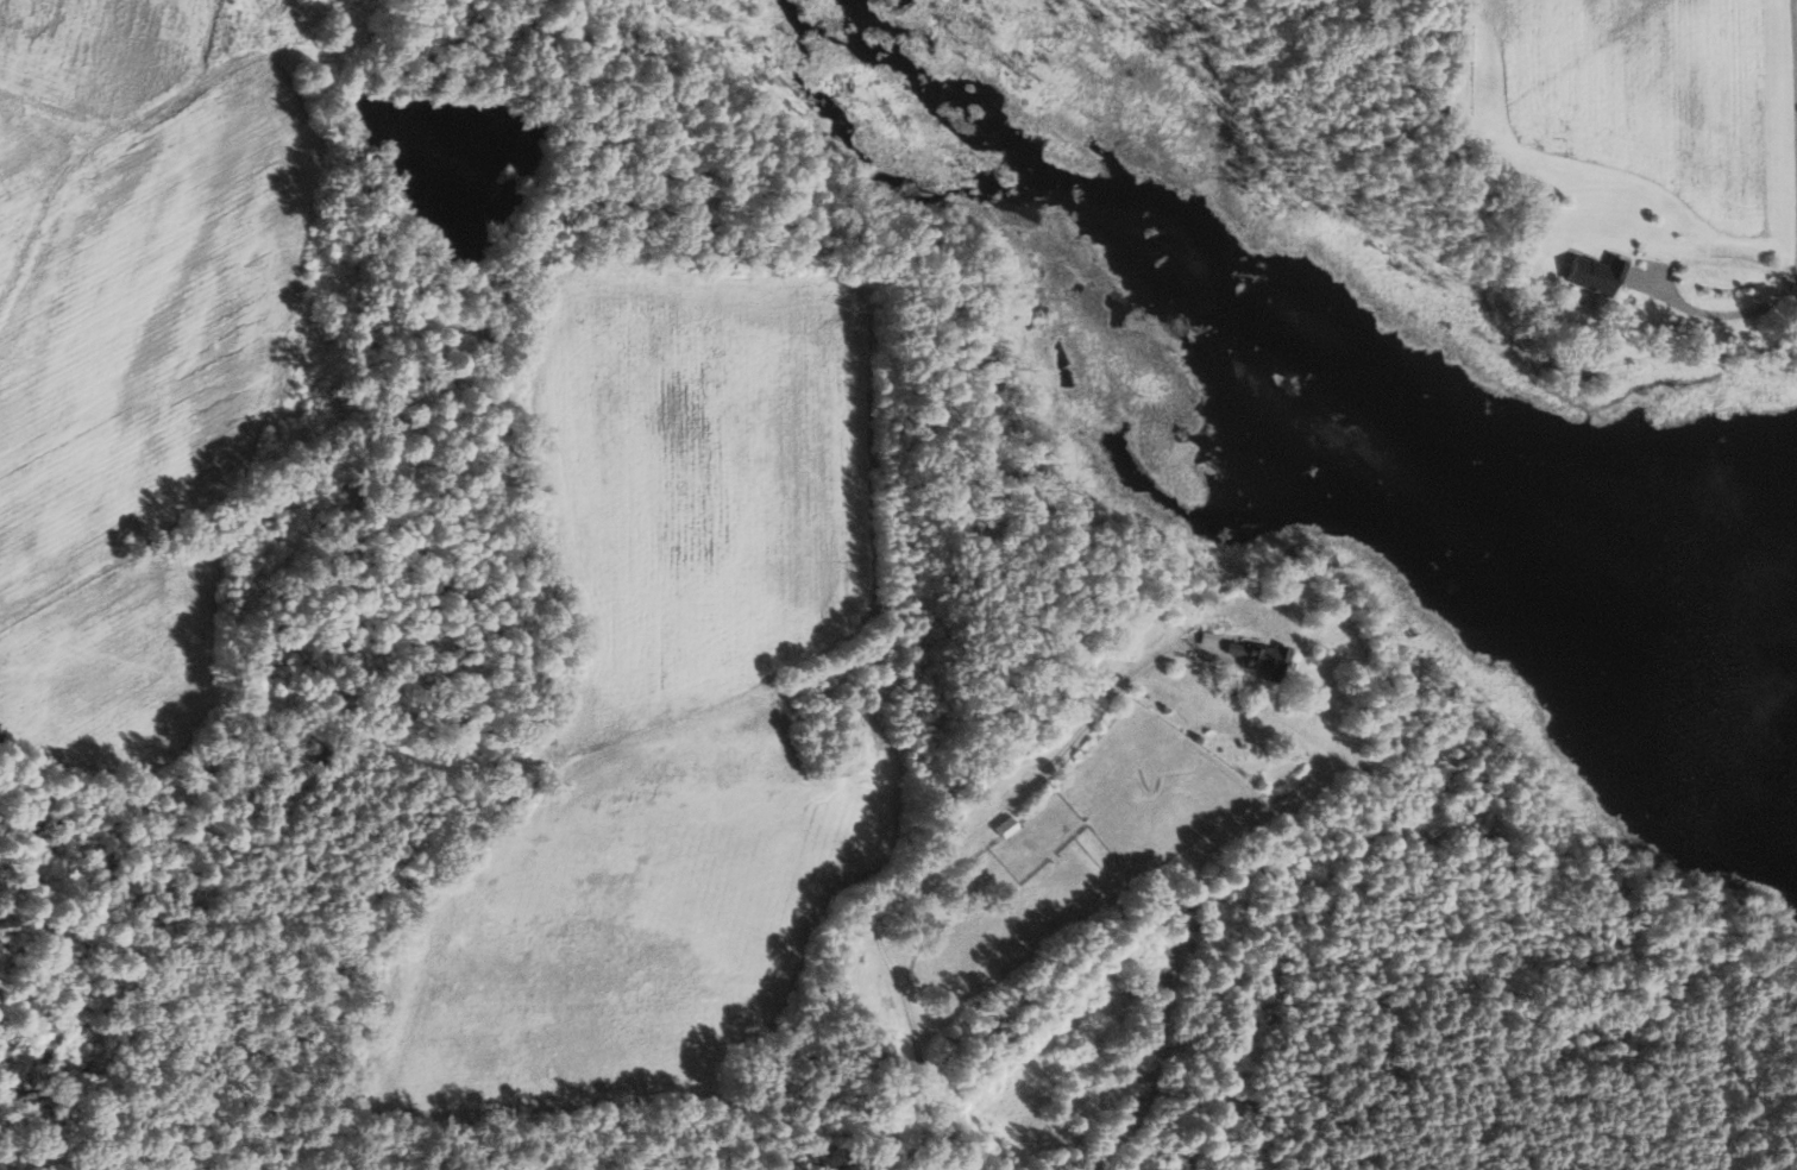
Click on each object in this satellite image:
road: (1795, 202)
building: (1596, 275)
river: (1302, 402)
building: (1262, 659)
building: (1007, 826)
road: (924, 867)

